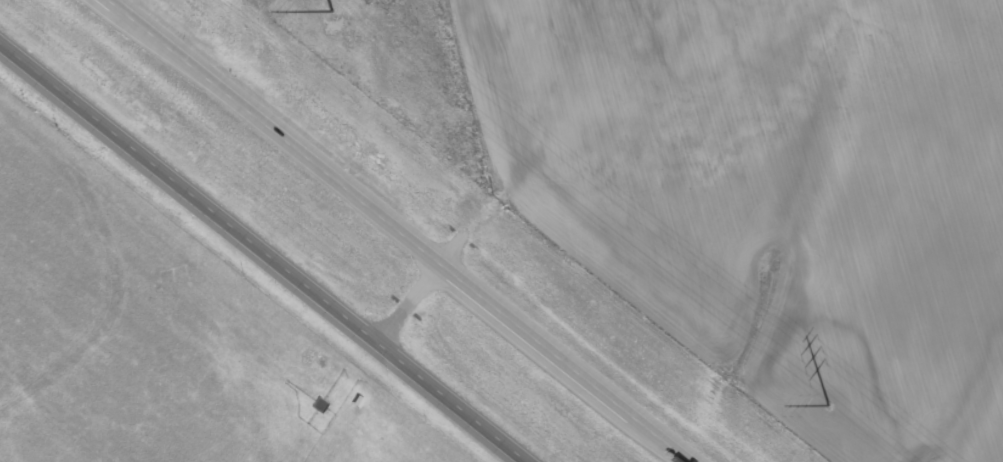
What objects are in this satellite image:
power tower: (332, 10)
road: (400, 231)
road: (263, 251)
power tower: (829, 403)

